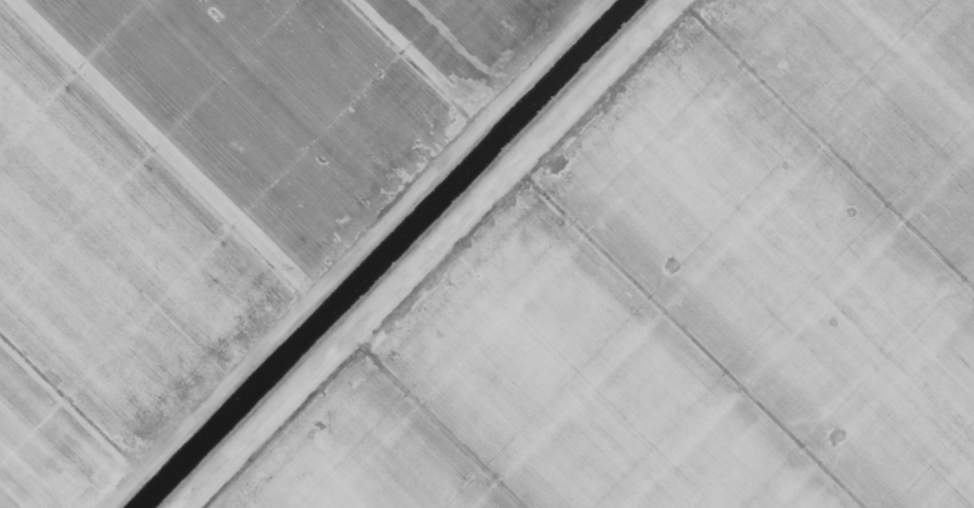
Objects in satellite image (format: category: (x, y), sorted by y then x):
road: (355, 253)

